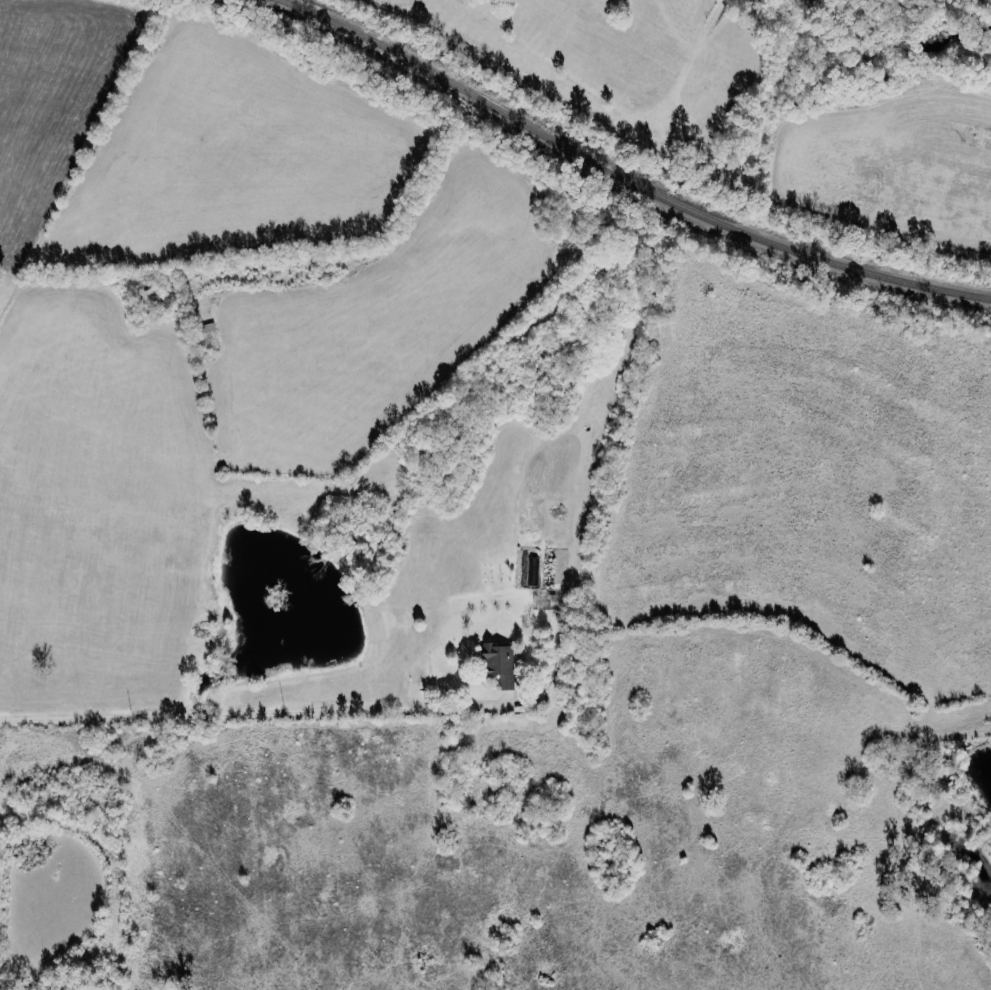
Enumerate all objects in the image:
railway: (410, 64)
railway: (758, 238)
building: (497, 665)
road: (183, 714)

